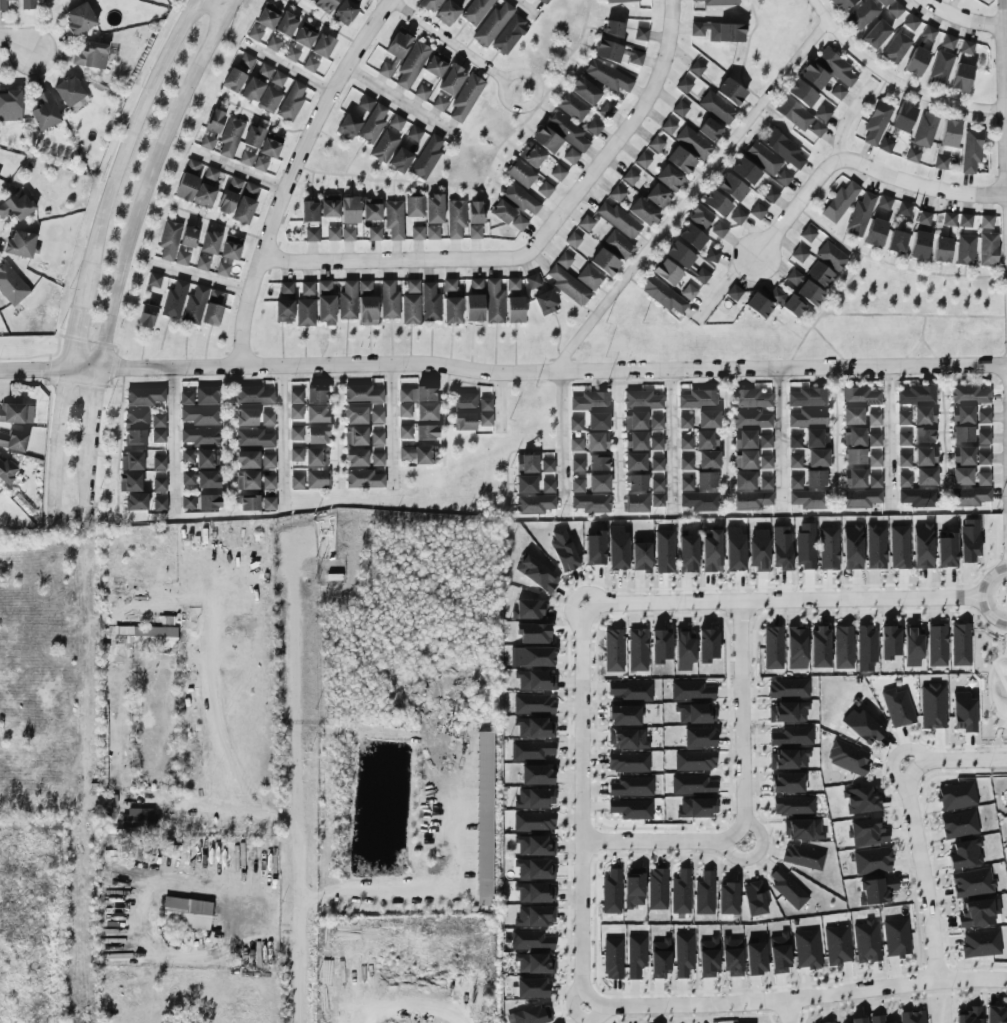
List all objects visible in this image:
building: (311, 1)
building: (543, 1)
building: (621, 1)
building: (719, 2)
building: (884, 2)
building: (3, 4)
building: (27, 4)
building: (326, 4)
building: (841, 4)
road: (217, 5)
building: (429, 5)
road: (526, 6)
building: (895, 9)
building: (345, 10)
building: (476, 10)
building: (447, 13)
building: (268, 15)
building: (861, 15)
road: (962, 17)
building: (79, 19)
road: (323, 22)
building: (911, 22)
building: (286, 23)
building: (492, 24)
road: (1004, 24)
building: (613, 29)
building: (719, 31)
building: (255, 32)
building: (641, 33)
building: (928, 33)
building: (875, 34)
building: (305, 35)
building: (509, 35)
road: (448, 40)
building: (948, 42)
road: (16, 43)
building: (273, 43)
building: (398, 44)
building: (323, 45)
building: (896, 47)
building: (966, 47)
building: (607, 51)
building: (292, 53)
road: (745, 54)
building: (90, 56)
building: (635, 57)
building: (246, 60)
building: (916, 61)
building: (311, 63)
building: (411, 64)
building: (435, 65)
building: (696, 67)
road: (286, 68)
building: (838, 68)
building: (940, 68)
building: (386, 69)
building: (264, 70)
building: (813, 75)
building: (607, 76)
building: (961, 77)
building: (278, 78)
building: (233, 80)
building: (451, 80)
road: (894, 81)
building: (684, 85)
building: (252, 90)
building: (584, 90)
building: (69, 91)
building: (731, 91)
building: (421, 92)
building: (837, 92)
building: (802, 93)
building: (465, 98)
building: (269, 99)
road: (399, 99)
road: (537, 101)
building: (291, 102)
building: (365, 103)
building: (439, 103)
building: (10, 106)
road: (518, 107)
building: (571, 107)
building: (717, 107)
building: (679, 108)
building: (606, 110)
building: (44, 111)
road: (533, 111)
building: (822, 113)
road: (846, 117)
building: (800, 118)
building: (903, 118)
building: (214, 121)
building: (396, 122)
building: (876, 122)
building: (372, 124)
building: (348, 126)
building: (668, 126)
building: (593, 127)
building: (710, 130)
building: (925, 130)
building: (568, 132)
building: (949, 133)
building: (230, 137)
building: (253, 137)
road: (1003, 138)
building: (546, 139)
building: (207, 142)
road: (491, 143)
building: (692, 143)
building: (656, 144)
building: (384, 145)
building: (885, 145)
road: (127, 147)
building: (269, 148)
building: (782, 148)
building: (406, 149)
building: (971, 150)
building: (531, 155)
building: (912, 155)
building: (427, 156)
building: (571, 156)
building: (246, 158)
building: (762, 158)
building: (642, 160)
building: (680, 160)
building: (260, 164)
building: (745, 171)
road: (237, 172)
building: (558, 172)
building: (520, 173)
building: (211, 174)
road: (292, 174)
building: (629, 177)
building: (781, 177)
road: (151, 178)
building: (669, 178)
building: (188, 180)
building: (234, 184)
building: (731, 187)
road: (927, 187)
building: (544, 189)
building: (616, 193)
road: (688, 193)
building: (770, 194)
building: (204, 196)
building: (657, 196)
building: (520, 198)
road: (799, 201)
building: (226, 202)
building: (839, 202)
building: (884, 202)
building: (245, 203)
building: (716, 203)
building: (16, 206)
building: (329, 206)
building: (414, 206)
building: (371, 209)
building: (433, 209)
building: (904, 209)
building: (309, 210)
building: (349, 210)
building: (501, 211)
building: (756, 211)
building: (474, 212)
building: (643, 212)
building: (859, 215)
building: (699, 216)
building: (737, 216)
building: (455, 218)
building: (923, 218)
building: (393, 219)
building: (948, 219)
building: (619, 220)
building: (965, 221)
building: (986, 222)
building: (518, 223)
building: (585, 223)
building: (719, 230)
building: (432, 232)
building: (474, 232)
building: (374, 233)
building: (417, 233)
building: (875, 233)
building: (311, 234)
building: (332, 234)
building: (348, 234)
building: (807, 234)
building: (189, 237)
building: (692, 237)
building: (169, 240)
building: (572, 240)
building: (897, 241)
building: (210, 242)
road: (538, 242)
building: (19, 244)
building: (617, 245)
building: (919, 245)
building: (230, 249)
building: (941, 249)
building: (965, 249)
building: (988, 249)
building: (799, 254)
building: (679, 255)
building: (711, 255)
building: (831, 256)
building: (182, 258)
building: (563, 260)
building: (604, 262)
building: (202, 263)
road: (893, 264)
building: (222, 269)
building: (667, 272)
building: (819, 274)
building: (589, 277)
building: (793, 277)
road: (200, 279)
building: (153, 280)
building: (532, 280)
road: (721, 284)
building: (11, 285)
building: (568, 285)
building: (475, 286)
building: (513, 286)
building: (285, 287)
building: (307, 288)
building: (688, 292)
building: (809, 293)
building: (663, 295)
building: (174, 300)
building: (388, 300)
building: (347, 301)
building: (494, 301)
building: (429, 302)
building: (411, 303)
building: (451, 303)
building: (545, 303)
building: (786, 303)
building: (325, 304)
building: (366, 304)
building: (758, 305)
building: (203, 307)
building: (474, 308)
building: (283, 310)
building: (515, 310)
road: (823, 310)
building: (305, 312)
road: (914, 314)
building: (146, 316)
road: (72, 335)
road: (828, 345)
road: (910, 349)
road: (503, 373)
building: (362, 393)
building: (417, 394)
building: (861, 394)
building: (206, 395)
building: (253, 395)
building: (916, 395)
building: (969, 395)
building: (144, 396)
building: (316, 396)
building: (295, 397)
building: (807, 397)
building: (186, 398)
building: (697, 398)
building: (751, 398)
building: (641, 399)
building: (464, 400)
road: (499, 401)
building: (590, 401)
road: (92, 402)
road: (940, 402)
building: (485, 404)
building: (405, 410)
building: (295, 412)
building: (426, 412)
building: (12, 413)
building: (316, 413)
building: (200, 415)
building: (355, 415)
building: (924, 415)
building: (961, 415)
building: (852, 416)
building: (245, 417)
building: (376, 417)
building: (983, 417)
building: (136, 418)
building: (267, 418)
building: (808, 418)
building: (903, 418)
building: (485, 419)
building: (708, 419)
building: (750, 419)
building: (873, 419)
building: (158, 420)
building: (464, 421)
building: (597, 421)
building: (634, 421)
building: (685, 422)
building: (655, 423)
building: (575, 424)
road: (394, 425)
building: (405, 431)
building: (425, 432)
building: (296, 433)
road: (833, 433)
building: (962, 434)
building: (158, 435)
road: (285, 435)
building: (317, 435)
road: (724, 435)
road: (886, 435)
building: (923, 435)
building: (200, 436)
building: (355, 436)
road: (613, 436)
road: (777, 436)
building: (134, 437)
building: (853, 437)
building: (983, 437)
building: (253, 438)
building: (377, 438)
building: (816, 438)
road: (172, 439)
road: (227, 439)
road: (670, 439)
building: (706, 439)
building: (744, 439)
building: (904, 439)
building: (635, 440)
building: (874, 440)
building: (13, 441)
building: (597, 441)
building: (765, 441)
building: (794, 441)
road: (561, 442)
building: (685, 442)
building: (656, 443)
building: (576, 444)
road: (53, 446)
building: (405, 453)
building: (296, 455)
building: (425, 455)
building: (854, 456)
building: (925, 456)
building: (962, 456)
building: (315, 457)
building: (200, 458)
building: (356, 458)
building: (817, 458)
building: (983, 458)
building: (247, 459)
building: (377, 459)
building: (708, 459)
building: (744, 460)
building: (874, 460)
building: (903, 460)
building: (131, 461)
building: (268, 461)
building: (635, 461)
building: (795, 461)
building: (158, 462)
building: (765, 462)
building: (526, 463)
building: (598, 463)
building: (685, 463)
building: (656, 464)
building: (547, 465)
building: (577, 465)
building: (7, 470)
building: (925, 476)
building: (961, 476)
building: (188, 477)
building: (815, 478)
building: (854, 478)
building: (983, 478)
road: (83, 479)
building: (208, 479)
building: (317, 479)
building: (364, 479)
building: (247, 480)
building: (706, 480)
building: (744, 480)
building: (904, 480)
building: (296, 481)
building: (874, 481)
building: (268, 482)
building: (636, 482)
building: (795, 482)
building: (129, 483)
building: (598, 483)
building: (765, 483)
building: (159, 484)
building: (526, 484)
building: (686, 484)
building: (577, 485)
building: (548, 486)
building: (657, 492)
building: (970, 496)
building: (918, 497)
building: (861, 498)
building: (808, 499)
building: (752, 500)
building: (136, 501)
building: (188, 501)
building: (700, 501)
building: (209, 502)
building: (637, 502)
building: (159, 503)
building: (248, 503)
building: (268, 503)
building: (591, 503)
building: (534, 504)
building: (969, 540)
building: (805, 546)
building: (922, 546)
building: (852, 547)
building: (875, 547)
building: (594, 548)
building: (617, 548)
building: (781, 548)
building: (829, 548)
building: (899, 548)
building: (734, 549)
building: (563, 550)
building: (711, 550)
building: (759, 550)
building: (664, 551)
building: (946, 551)
building: (688, 553)
building: (641, 557)
building: (537, 574)
road: (987, 596)
road: (782, 599)
building: (528, 609)
building: (533, 633)
building: (145, 636)
road: (1002, 638)
building: (889, 642)
building: (707, 644)
building: (960, 645)
building: (660, 646)
building: (937, 646)
building: (796, 647)
building: (843, 647)
building: (773, 648)
building: (819, 648)
building: (866, 648)
building: (912, 648)
building: (637, 649)
building: (613, 650)
building: (684, 651)
building: (532, 657)
building: (536, 680)
road: (986, 687)
building: (788, 688)
building: (631, 690)
building: (691, 690)
building: (534, 703)
building: (932, 706)
building: (898, 708)
building: (787, 712)
building: (963, 712)
building: (696, 713)
building: (624, 715)
building: (861, 726)
building: (535, 728)
building: (792, 736)
building: (699, 737)
road: (995, 737)
building: (627, 738)
building: (532, 750)
building: (848, 757)
building: (788, 759)
building: (695, 761)
building: (628, 762)
building: (537, 774)
road: (296, 782)
building: (787, 782)
building: (1006, 783)
building: (692, 784)
building: (631, 786)
road: (742, 795)
building: (956, 796)
building: (535, 798)
building: (861, 800)
road: (578, 804)
building: (793, 805)
building: (697, 807)
building: (631, 809)
road: (912, 817)
building: (140, 818)
building: (484, 818)
building: (533, 821)
building: (1006, 822)
building: (959, 824)
building: (803, 829)
building: (868, 832)
building: (535, 846)
road: (753, 853)
building: (965, 854)
building: (802, 857)
building: (872, 860)
building: (535, 869)
building: (972, 882)
building: (633, 888)
building: (657, 889)
building: (788, 889)
road: (407, 890)
building: (877, 890)
building: (611, 891)
building: (681, 892)
building: (535, 893)
building: (704, 893)
building: (727, 898)
building: (754, 898)
building: (185, 913)
building: (976, 913)
building: (535, 916)
building: (896, 937)
building: (531, 940)
building: (866, 941)
building: (980, 943)
building: (837, 945)
building: (807, 949)
building: (779, 953)
building: (683, 954)
building: (636, 956)
building: (732, 957)
building: (612, 958)
building: (659, 958)
building: (708, 958)
building: (755, 958)
building: (534, 964)
building: (531, 987)
road: (799, 999)
road: (942, 1000)
road: (787, 1012)
building: (530, 1015)
building: (970, 1015)
building: (995, 1015)
building: (912, 1017)
building: (877, 1019)
building: (858, 1020)
building: (831, 1022)

